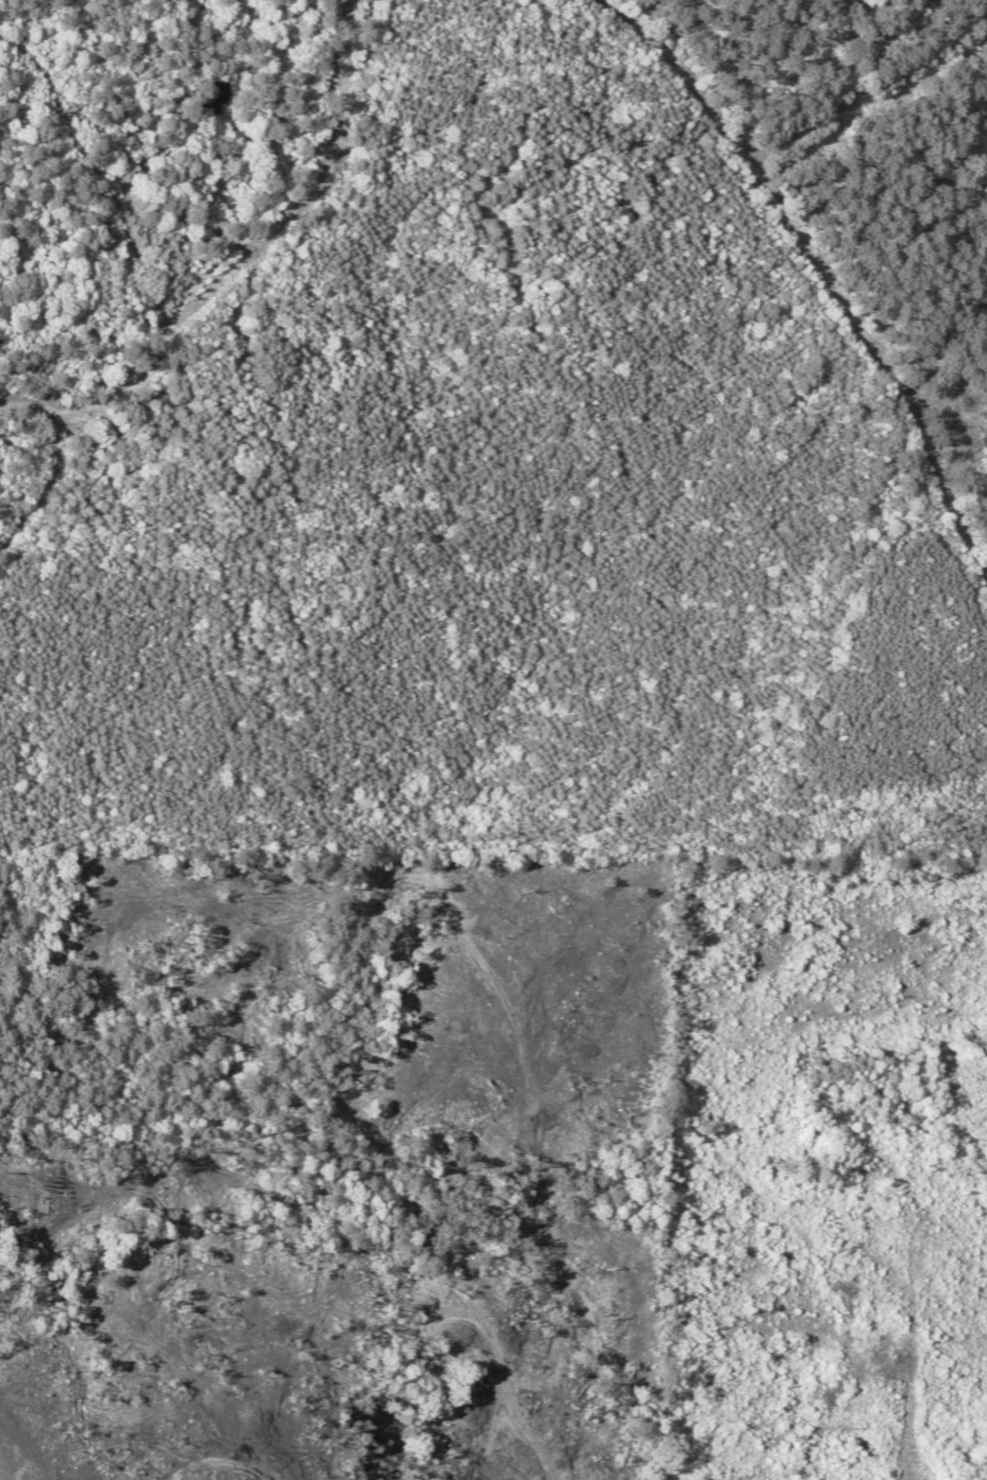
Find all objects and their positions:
road: (822, 272)

